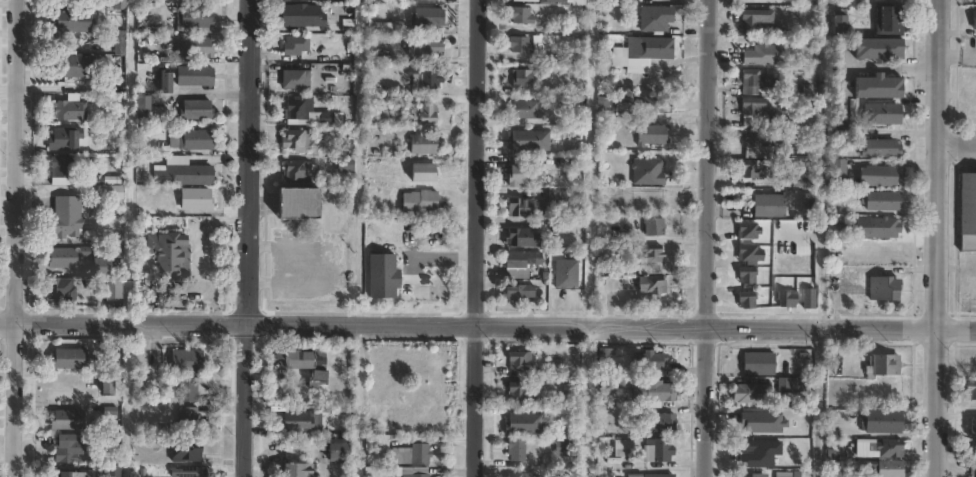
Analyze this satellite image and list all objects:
building: (531, 0)
building: (810, 0)
building: (116, 3)
building: (301, 15)
building: (521, 15)
building: (195, 16)
building: (426, 17)
building: (656, 18)
building: (889, 18)
building: (72, 20)
building: (974, 20)
building: (762, 22)
building: (840, 23)
building: (385, 28)
building: (295, 44)
building: (526, 44)
building: (192, 47)
building: (425, 47)
building: (879, 48)
building: (119, 49)
building: (657, 51)
building: (765, 55)
building: (618, 56)
building: (70, 66)
road: (892, 67)
building: (194, 75)
building: (425, 77)
building: (521, 78)
building: (295, 79)
building: (756, 80)
building: (164, 81)
building: (879, 86)
building: (142, 104)
building: (654, 104)
building: (606, 106)
building: (298, 107)
building: (527, 108)
building: (69, 109)
building: (200, 109)
building: (427, 112)
building: (757, 112)
building: (882, 113)
building: (331, 118)
building: (653, 133)
building: (752, 137)
building: (843, 137)
building: (63, 139)
building: (528, 139)
building: (191, 140)
building: (297, 140)
road: (957, 143)
building: (425, 144)
building: (880, 147)
building: (780, 151)
building: (345, 164)
road: (820, 164)
building: (839, 167)
building: (756, 168)
building: (298, 169)
building: (60, 170)
building: (647, 171)
building: (182, 172)
building: (522, 174)
building: (881, 175)
building: (802, 178)
building: (112, 192)
building: (195, 199)
building: (420, 201)
building: (882, 201)
building: (298, 202)
building: (536, 202)
building: (69, 205)
building: (769, 205)
building: (967, 212)
building: (63, 226)
building: (654, 226)
building: (560, 227)
building: (882, 228)
building: (749, 231)
building: (789, 233)
building: (522, 237)
road: (13, 238)
road: (248, 238)
road: (480, 238)
road: (704, 238)
road: (937, 238)
building: (168, 251)
building: (750, 253)
building: (61, 257)
building: (649, 259)
building: (519, 263)
building: (100, 266)
building: (605, 269)
building: (565, 274)
building: (747, 274)
building: (113, 288)
building: (651, 288)
building: (885, 288)
building: (61, 289)
building: (518, 292)
parking lot: (969, 292)
building: (809, 298)
building: (746, 300)
building: (786, 300)
road: (488, 326)
building: (67, 359)
building: (186, 361)
building: (306, 363)
building: (520, 363)
building: (654, 363)
building: (759, 363)
building: (884, 364)
building: (790, 384)
building: (105, 385)
building: (187, 388)
building: (572, 388)
building: (655, 391)
building: (971, 391)
building: (520, 392)
building: (751, 393)
road: (122, 400)
road: (818, 403)
building: (66, 420)
building: (187, 420)
building: (297, 420)
building: (882, 421)
building: (661, 423)
building: (565, 447)
building: (624, 448)
building: (889, 448)
building: (66, 449)
building: (971, 449)
building: (337, 450)
building: (516, 450)
building: (662, 450)
building: (185, 451)
building: (412, 454)
building: (879, 469)
building: (113, 470)
building: (296, 470)
building: (973, 471)
building: (188, 472)
building: (417, 472)
building: (71, 473)
building: (783, 474)
building: (522, 475)
building: (658, 475)
building: (756, 475)

